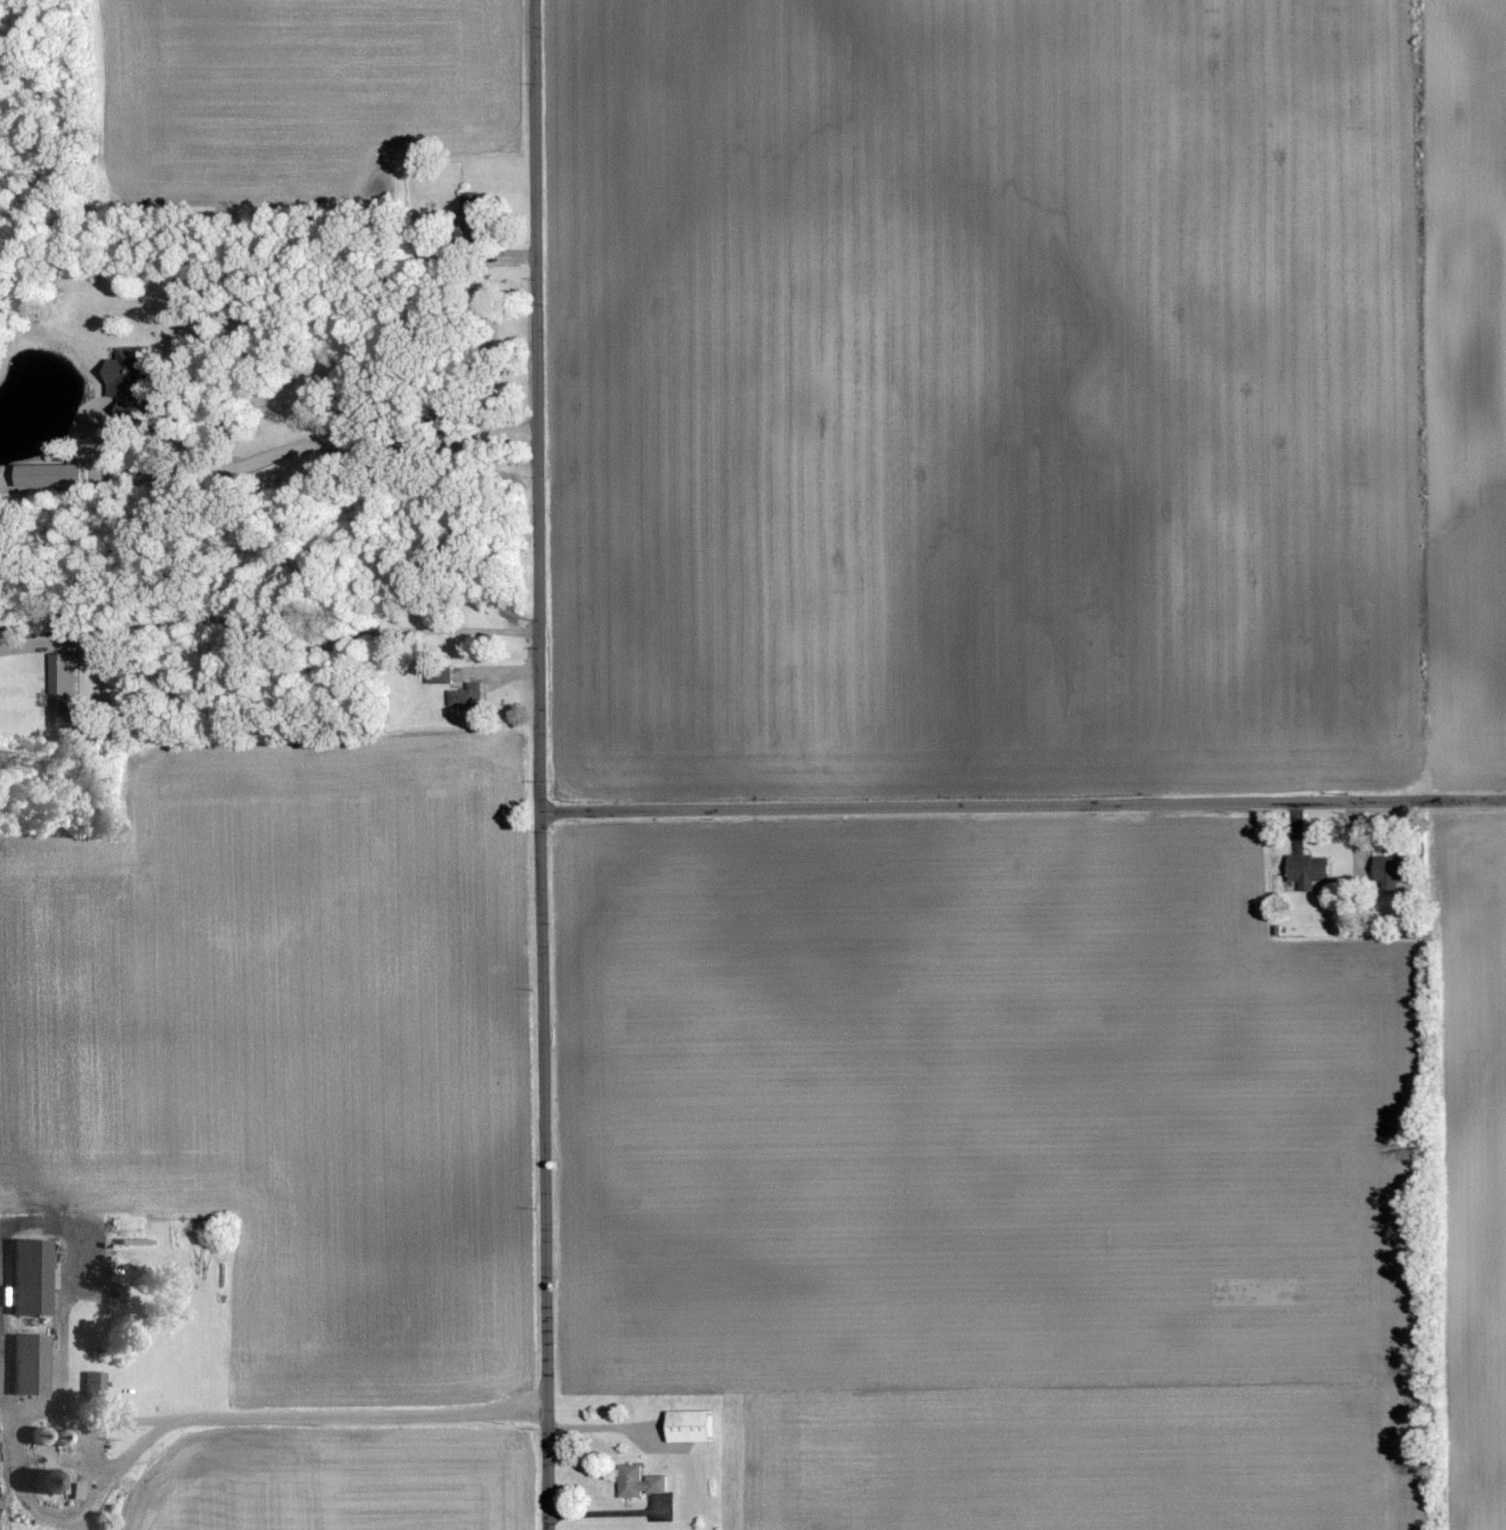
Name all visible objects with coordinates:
building: (468, 200)
building: (123, 374)
road: (299, 445)
building: (48, 476)
road: (268, 627)
building: (437, 676)
building: (59, 690)
building: (464, 696)
road: (538, 765)
road: (1022, 805)
building: (1306, 871)
building: (1386, 872)
building: (25, 1275)
road: (68, 1279)
road: (1, 1357)
building: (25, 1363)
road: (253, 1416)
building: (687, 1425)
road: (601, 1427)
road: (15, 1470)
building: (638, 1482)
road: (604, 1513)

